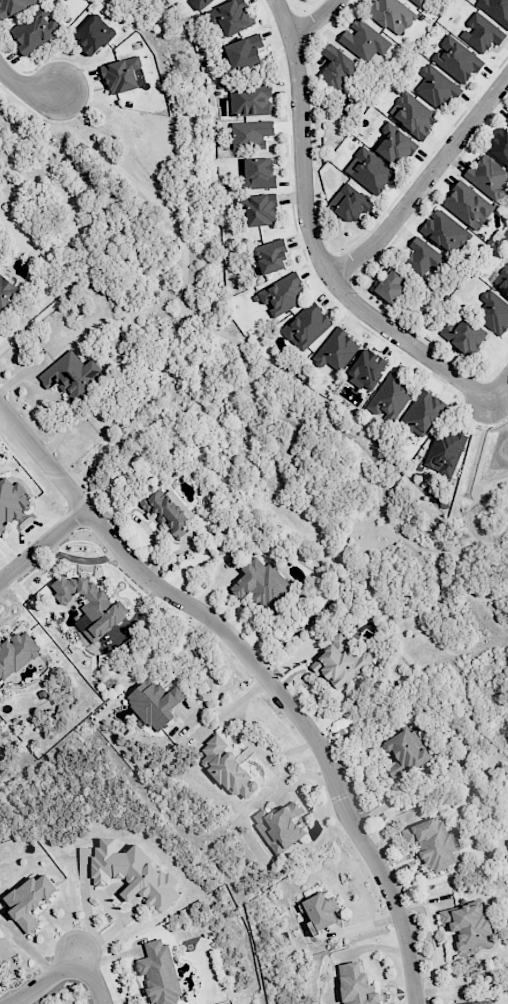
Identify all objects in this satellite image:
building: (421, 2)
building: (200, 3)
building: (494, 9)
building: (391, 15)
building: (231, 17)
road: (316, 20)
building: (35, 30)
building: (481, 33)
building: (94, 34)
building: (364, 40)
building: (244, 52)
building: (456, 59)
building: (336, 68)
building: (123, 75)
building: (436, 87)
road: (25, 88)
building: (250, 101)
building: (413, 115)
building: (507, 119)
building: (251, 134)
building: (396, 145)
building: (500, 146)
building: (370, 171)
building: (259, 172)
building: (487, 176)
road: (423, 183)
building: (348, 203)
building: (468, 205)
building: (259, 209)
building: (445, 232)
road: (311, 240)
building: (271, 256)
building: (423, 256)
building: (502, 276)
building: (390, 286)
building: (6, 290)
building: (281, 295)
building: (493, 311)
building: (306, 326)
building: (463, 334)
building: (336, 349)
building: (367, 369)
building: (71, 376)
road: (499, 389)
building: (390, 398)
building: (422, 413)
building: (444, 452)
building: (12, 502)
building: (168, 511)
road: (42, 543)
building: (260, 582)
building: (89, 605)
building: (16, 652)
building: (340, 661)
road: (203, 664)
road: (261, 670)
building: (155, 703)
building: (405, 752)
building: (228, 768)
building: (280, 826)
building: (432, 843)
building: (134, 874)
building: (29, 900)
building: (321, 910)
building: (465, 926)
road: (84, 945)
building: (159, 972)
road: (93, 979)
road: (44, 980)
building: (356, 985)
building: (483, 1002)

